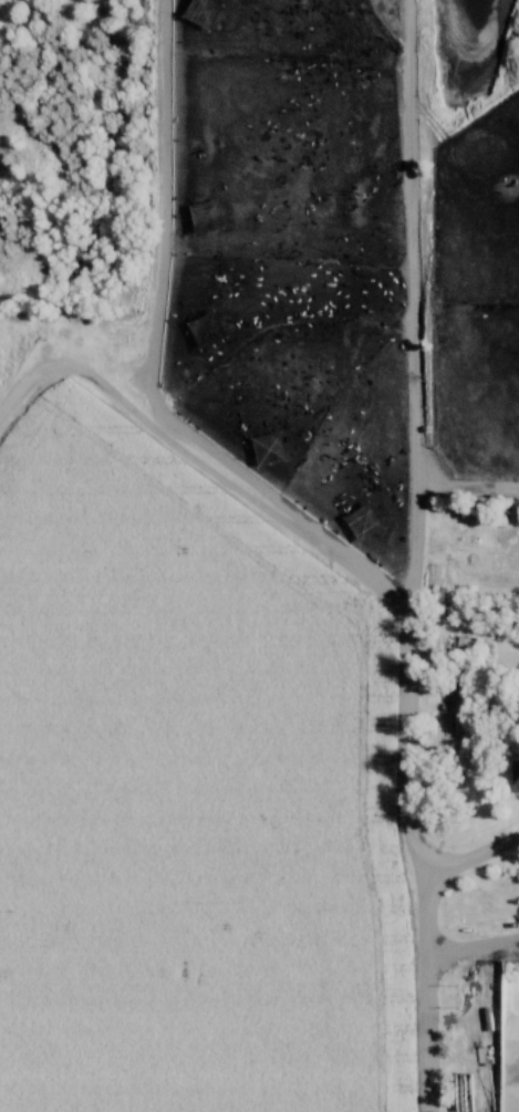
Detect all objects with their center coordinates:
road: (163, 306)
road: (417, 438)
road: (206, 469)
building: (516, 777)
road: (477, 860)
road: (432, 988)

